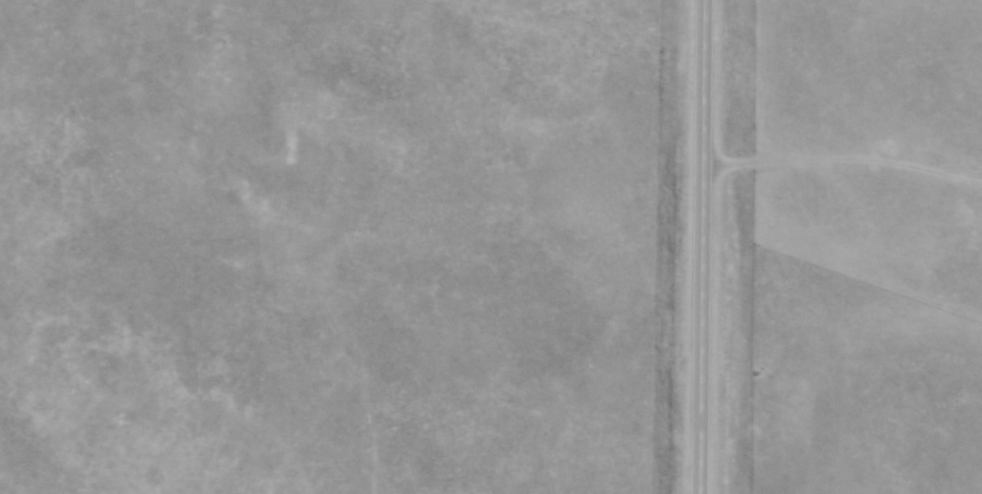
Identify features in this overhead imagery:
road: (700, 247)

